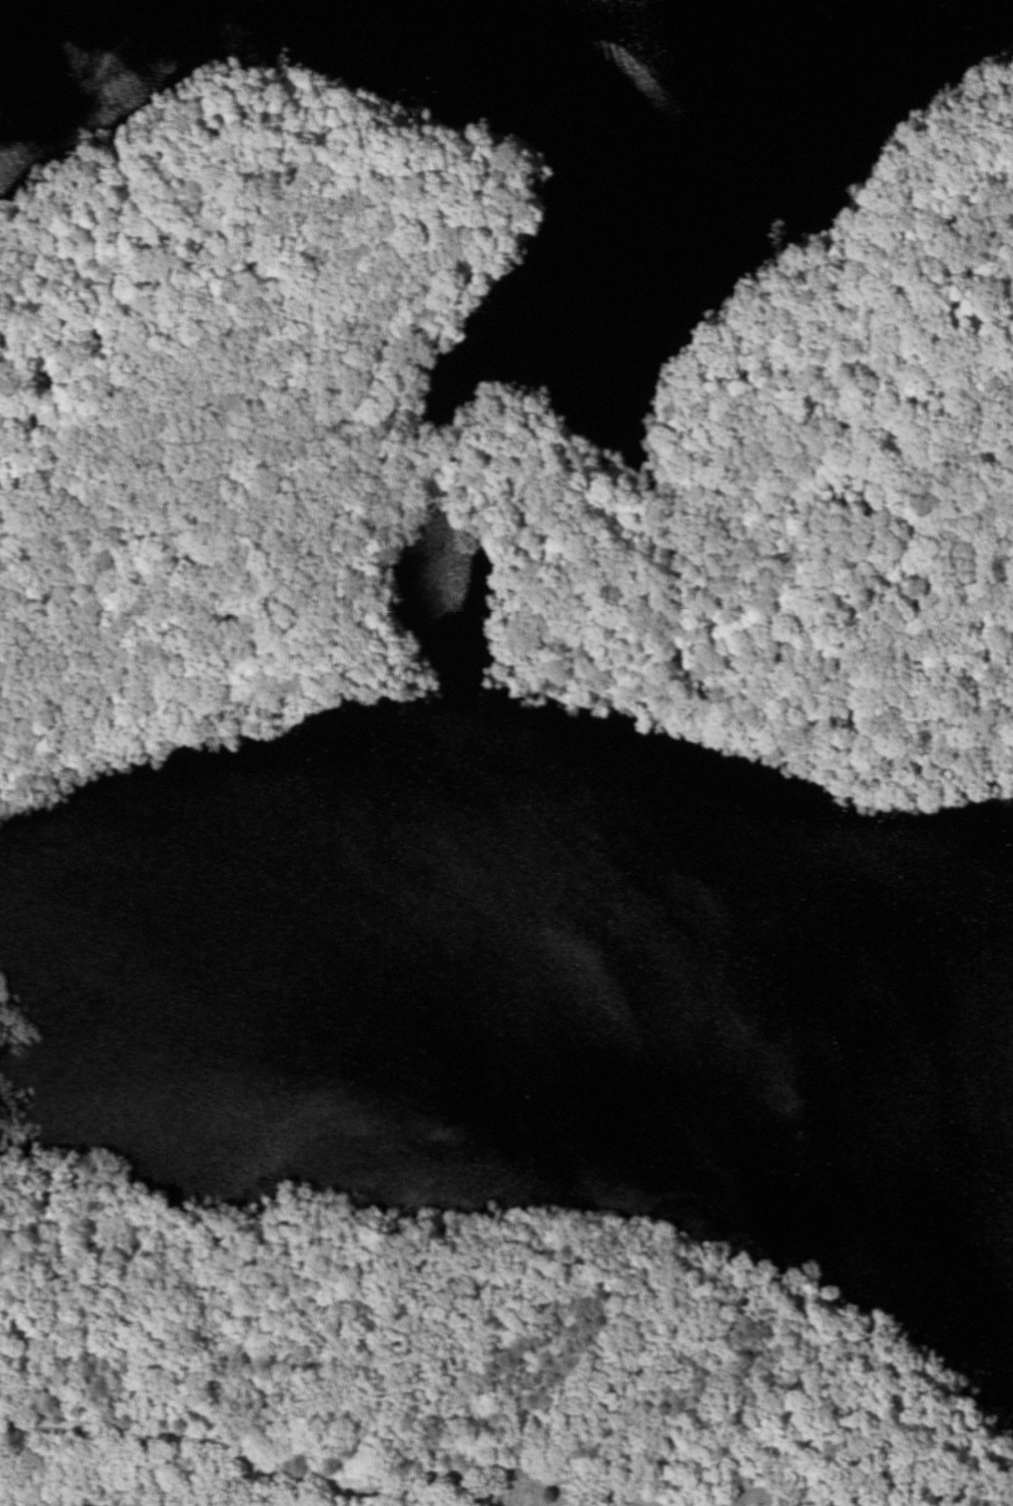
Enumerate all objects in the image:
road: (325, 1491)
park: (533, 1495)

